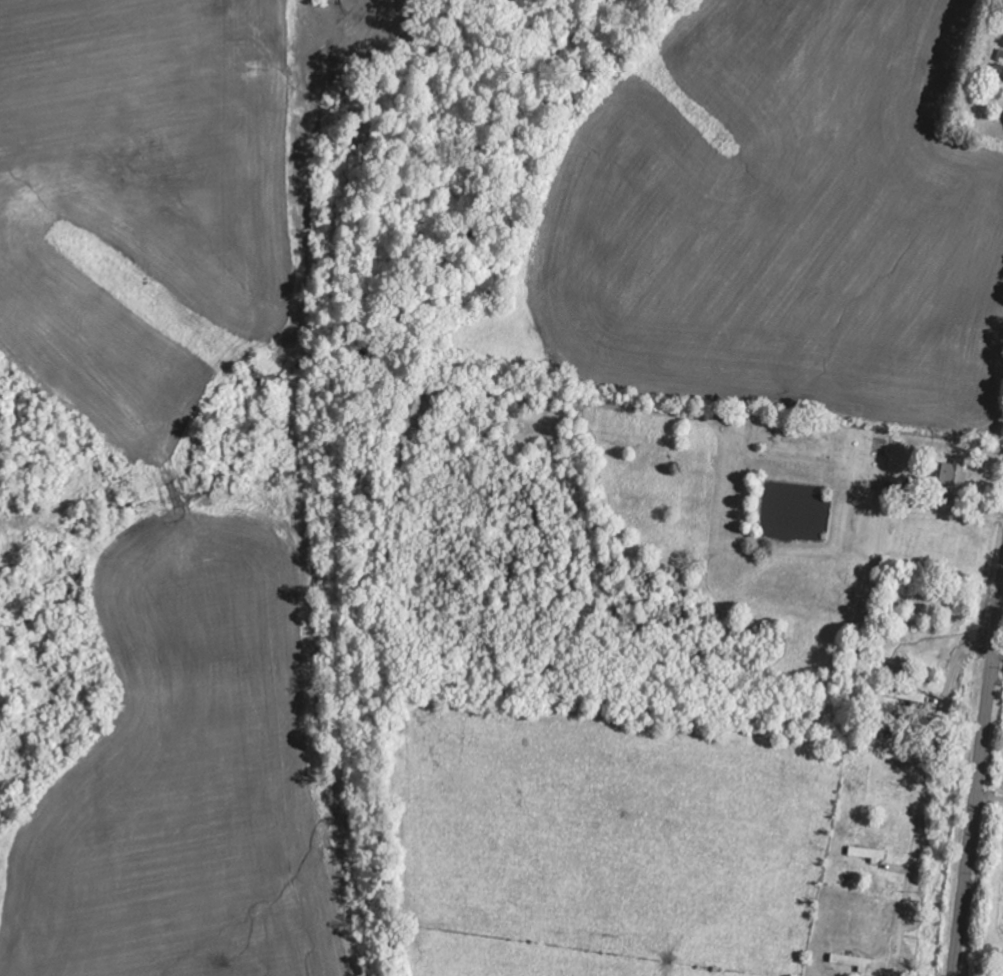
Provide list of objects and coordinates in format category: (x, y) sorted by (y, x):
building: (954, 473)
road: (977, 783)
road: (924, 797)
building: (854, 962)

